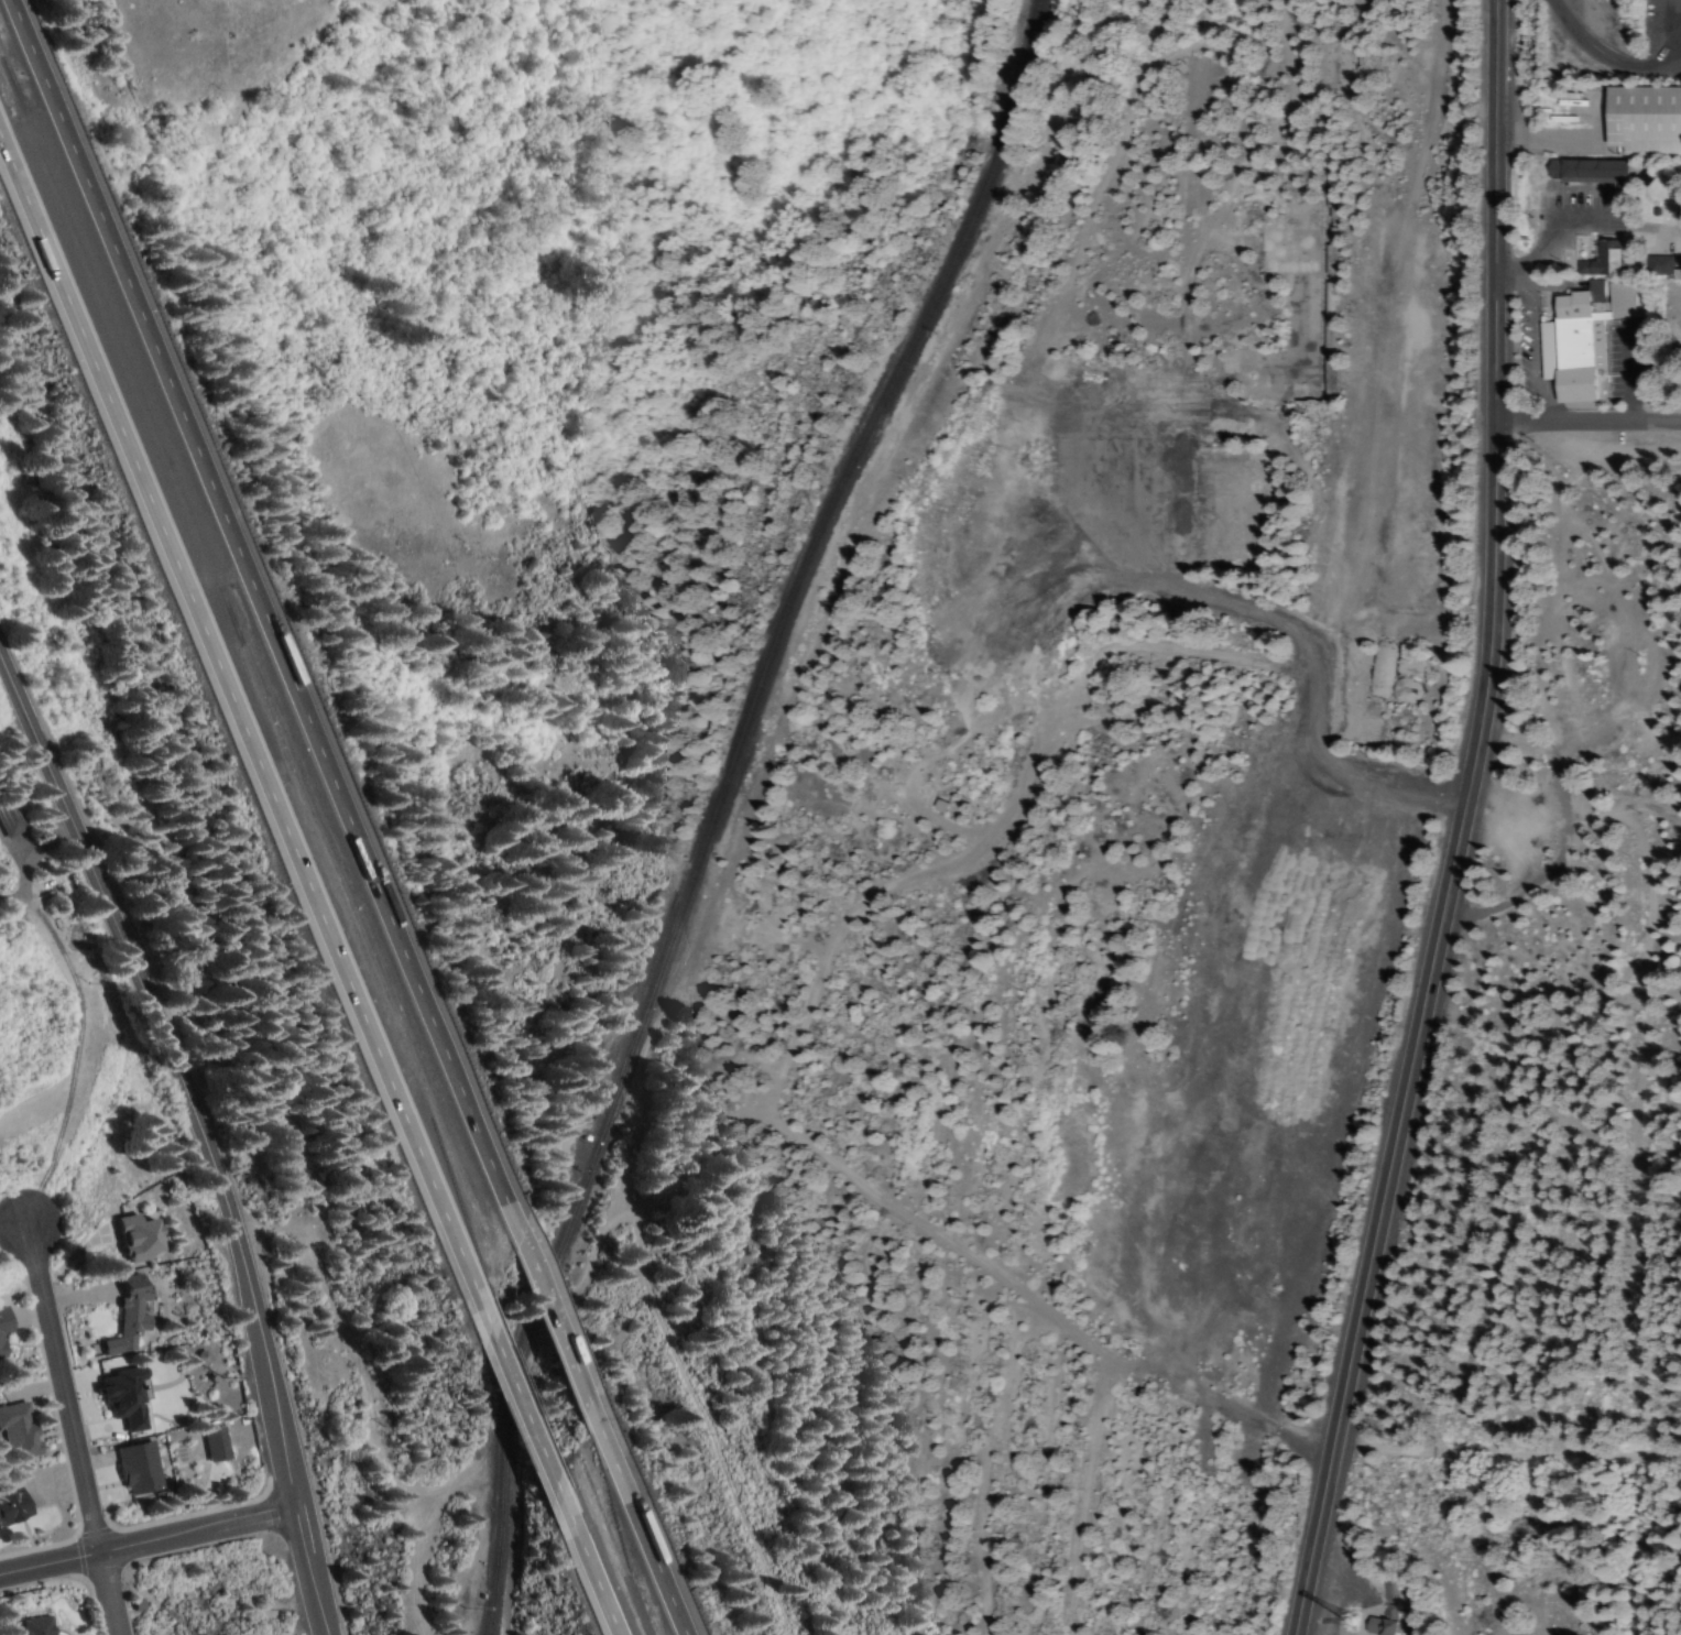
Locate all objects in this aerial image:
road: (1609, 53)
building: (1649, 121)
building: (1593, 172)
building: (1601, 261)
building: (1657, 268)
building: (1583, 340)
road: (1586, 418)
road: (259, 596)
road: (236, 704)
railway: (717, 803)
building: (10, 817)
road: (1455, 825)
road: (205, 1123)
building: (132, 1238)
building: (128, 1315)
building: (2, 1321)
road: (567, 1348)
building: (1, 1354)
building: (120, 1396)
road: (522, 1409)
road: (78, 1428)
building: (14, 1431)
building: (212, 1443)
building: (135, 1468)
building: (8, 1505)
road: (145, 1545)
road: (661, 1568)
road: (598, 1580)
building: (1383, 1623)
building: (30, 1626)

